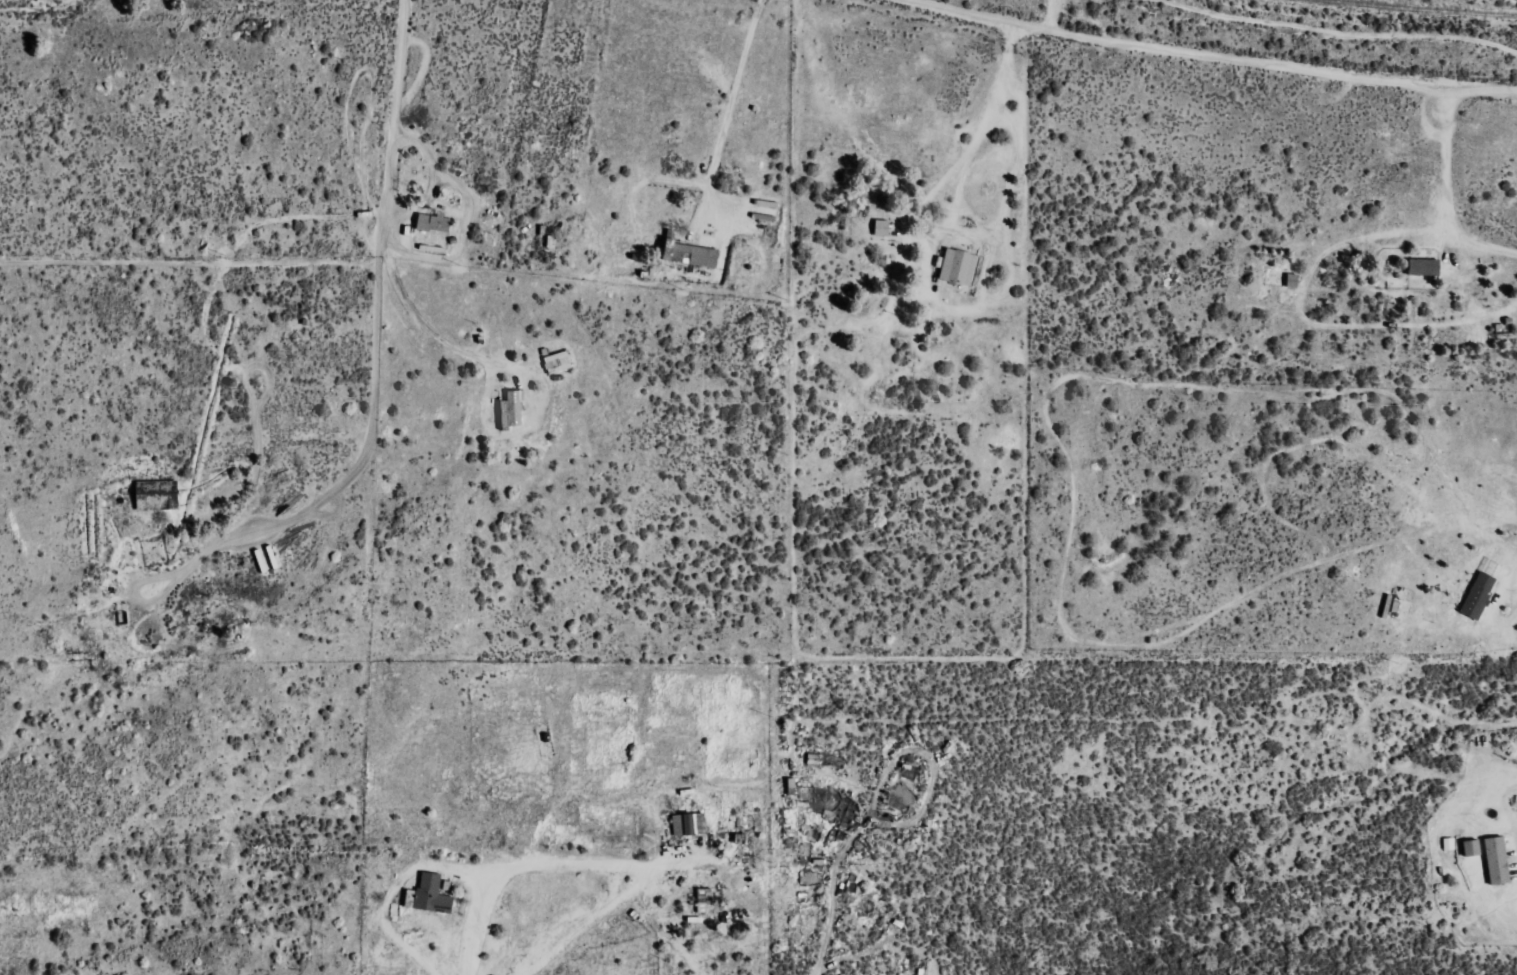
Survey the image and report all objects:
railway: (1419, 9)
road: (1049, 15)
road: (5, 29)
road: (1208, 55)
building: (883, 228)
building: (691, 254)
road: (349, 259)
building: (959, 267)
building: (1425, 267)
building: (558, 362)
building: (512, 410)
building: (1479, 595)
building: (792, 786)
building: (689, 824)
building: (1448, 844)
building: (1473, 848)
building: (1498, 861)
building: (430, 895)
building: (706, 896)

